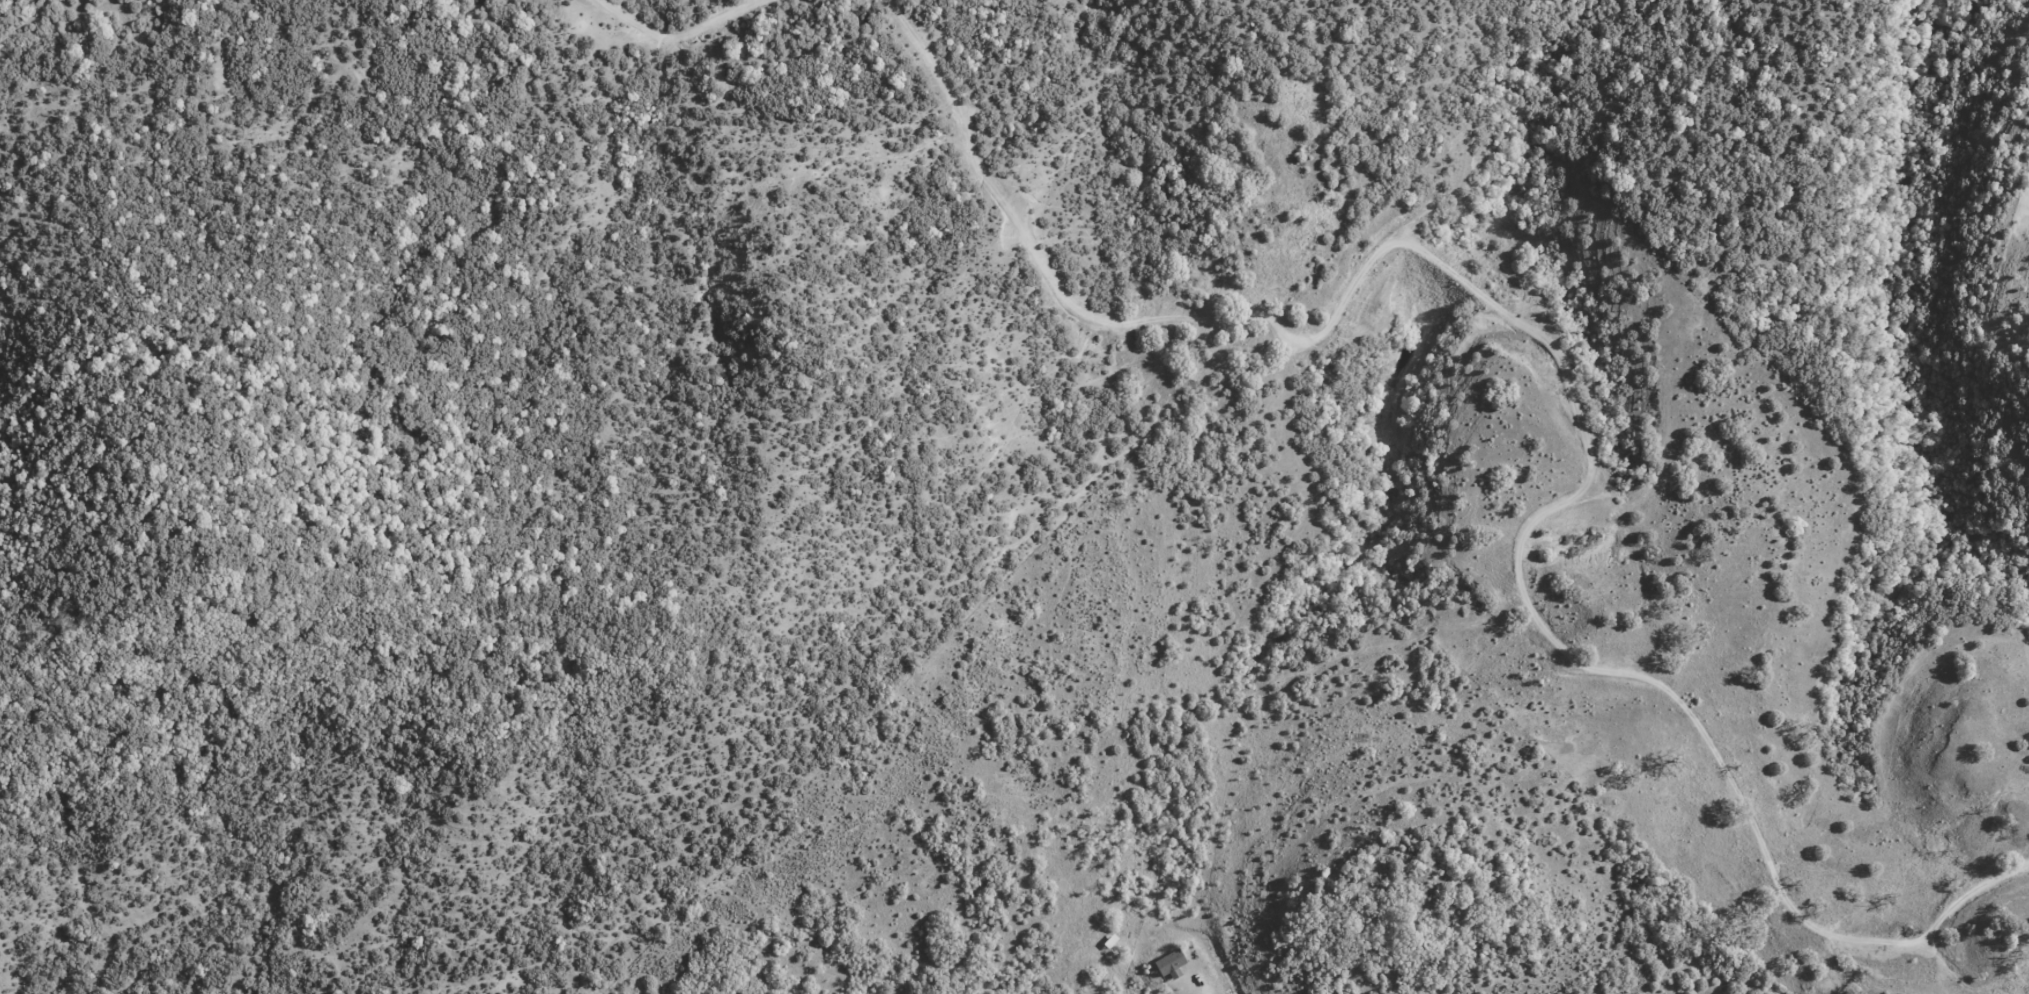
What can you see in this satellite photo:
road: (701, 31)
road: (1258, 625)
building: (1168, 966)

